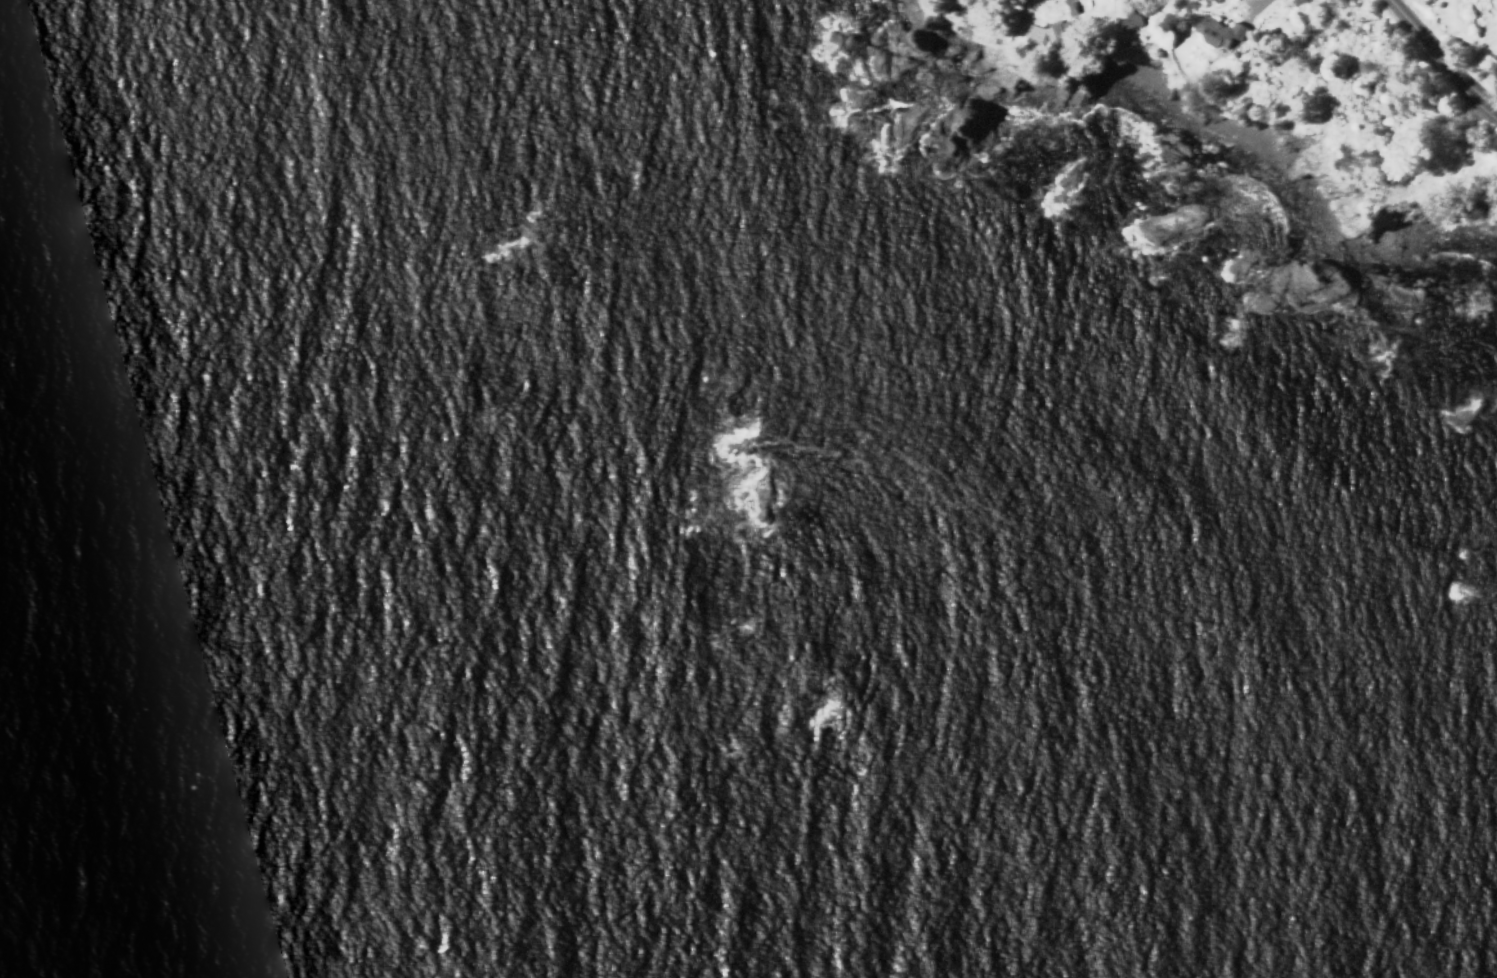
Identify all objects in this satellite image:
building: (1219, 31)
building: (1054, 33)
road: (1445, 54)

